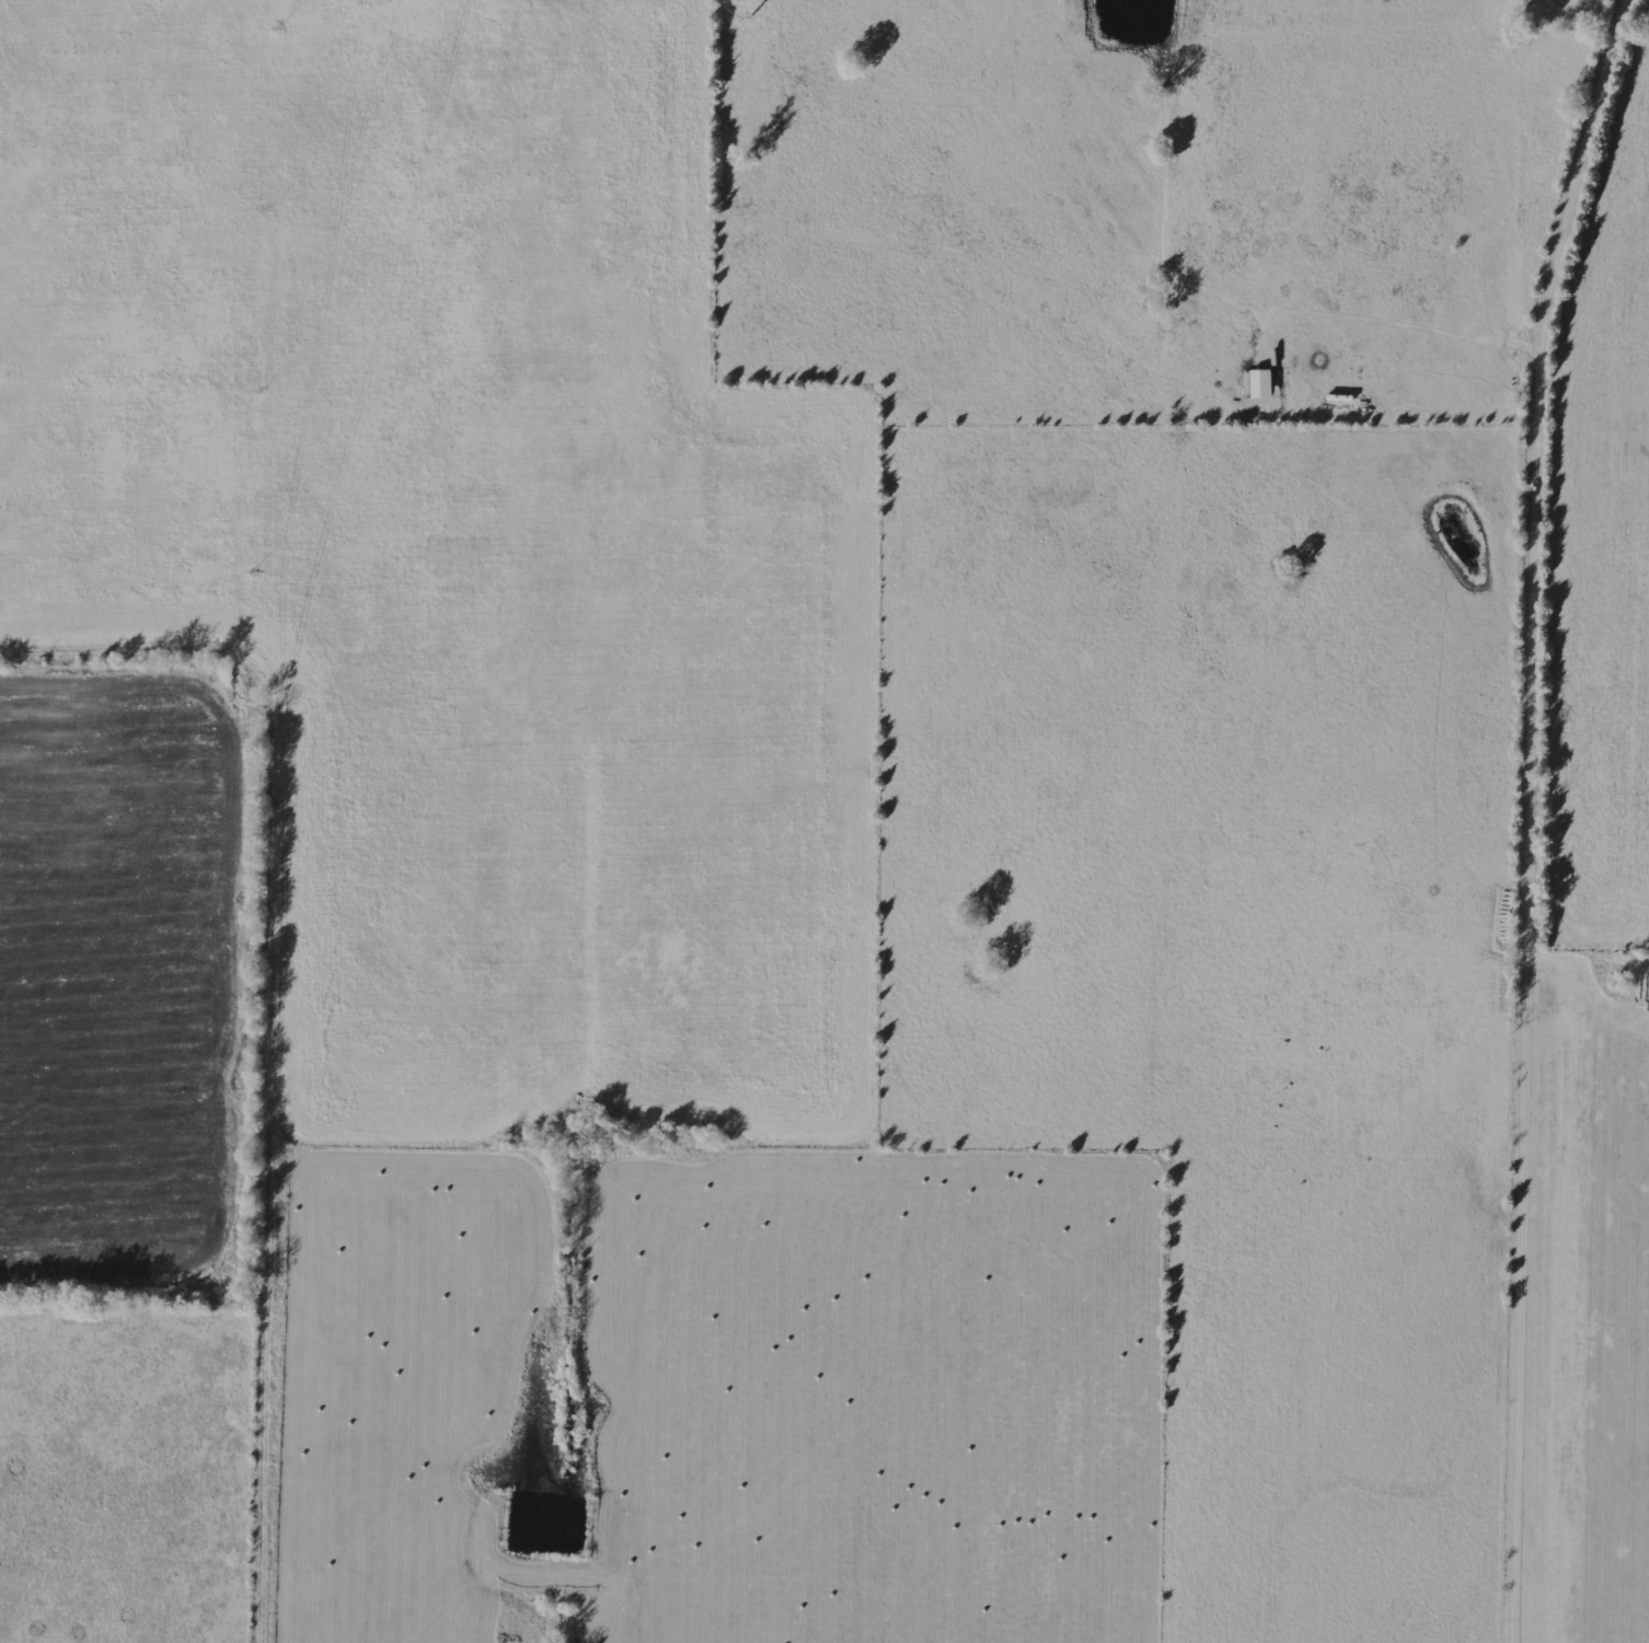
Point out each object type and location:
building: (1261, 384)
road: (1537, 815)
road: (280, 1018)

